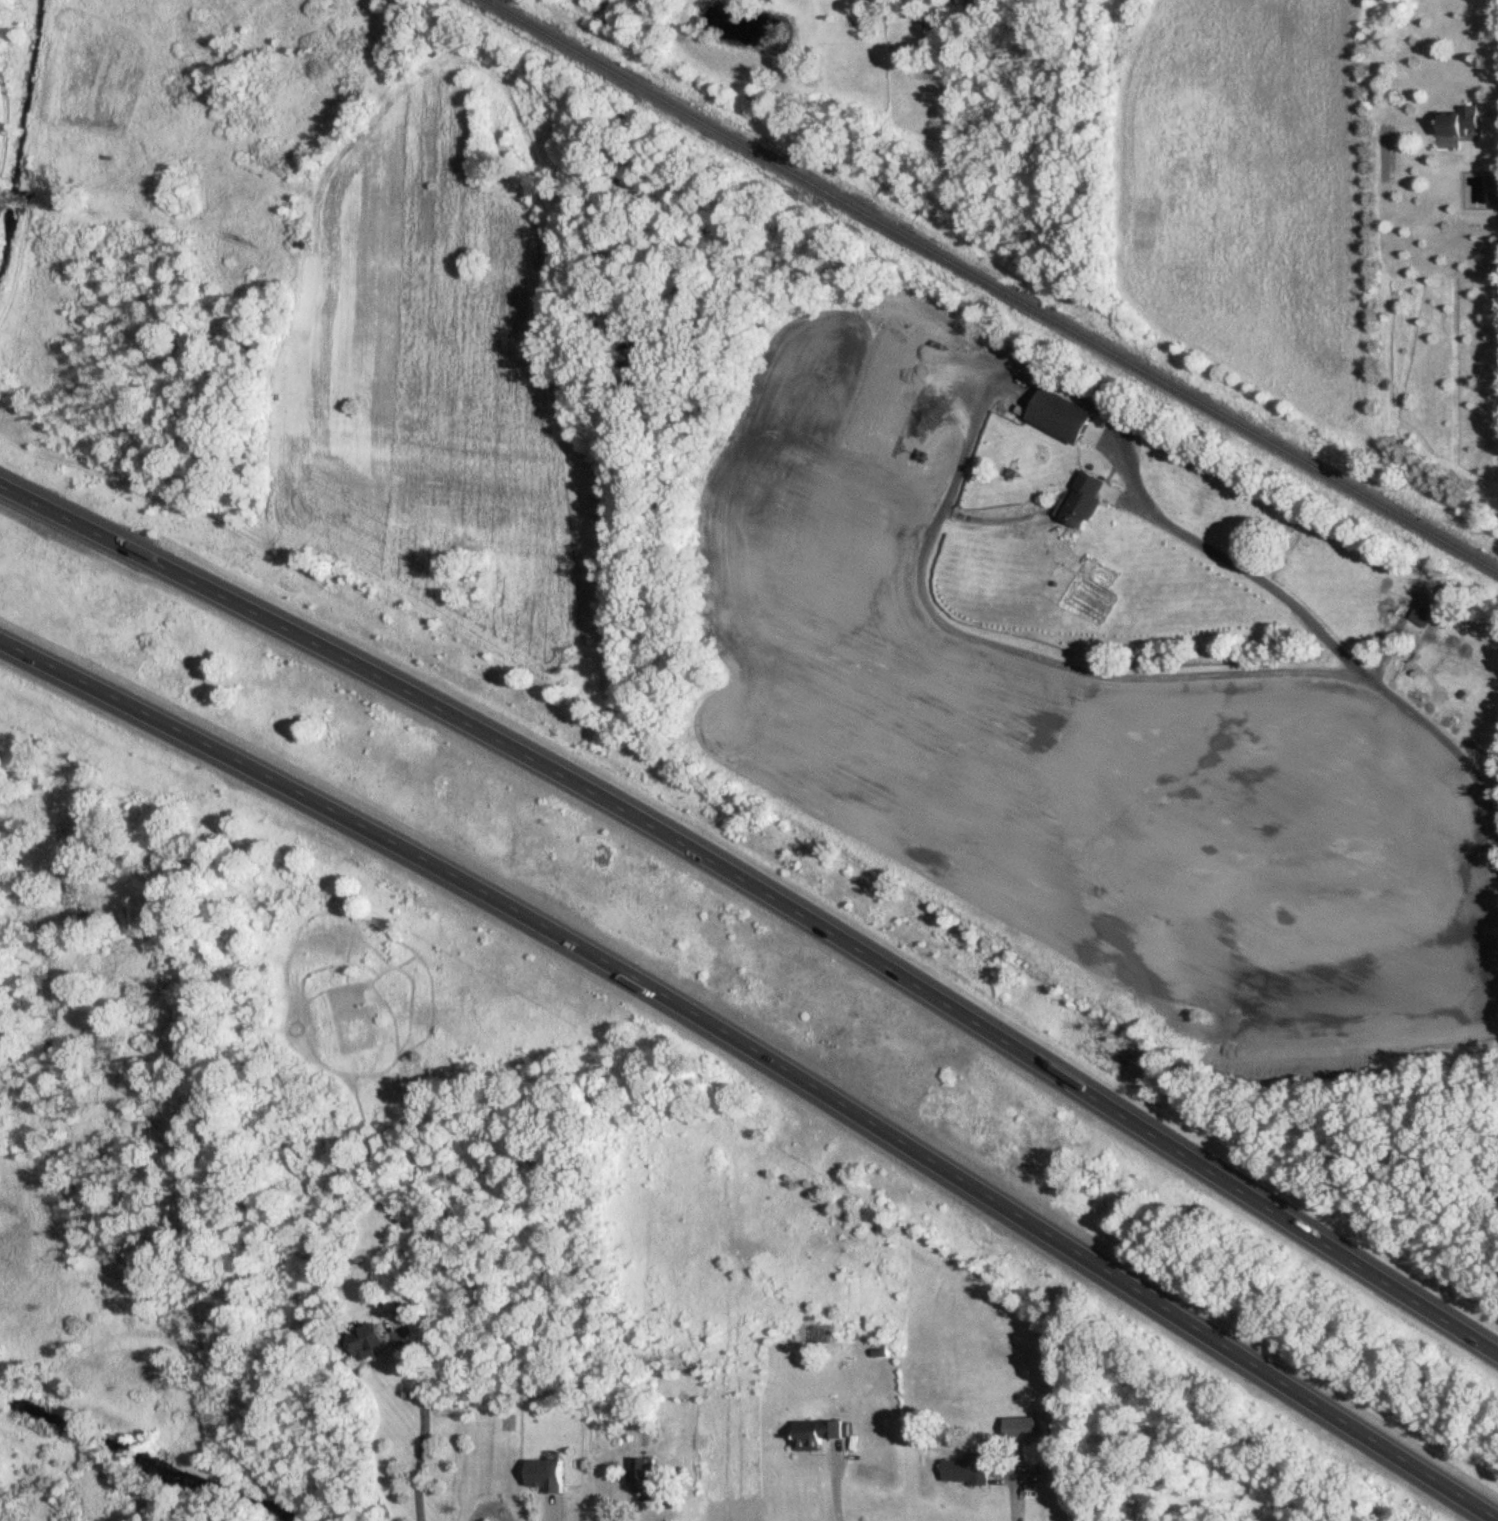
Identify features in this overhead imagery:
road: (1497, 2)
building: (925, 19)
building: (752, 20)
building: (1456, 123)
building: (1493, 189)
railway: (988, 288)
building: (1057, 416)
building: (1082, 500)
road: (1346, 658)
road: (766, 888)
road: (760, 1061)
building: (362, 1342)
road: (428, 1419)
building: (1019, 1428)
building: (815, 1434)
building: (965, 1470)
building: (545, 1474)
building: (642, 1475)
road: (836, 1482)

